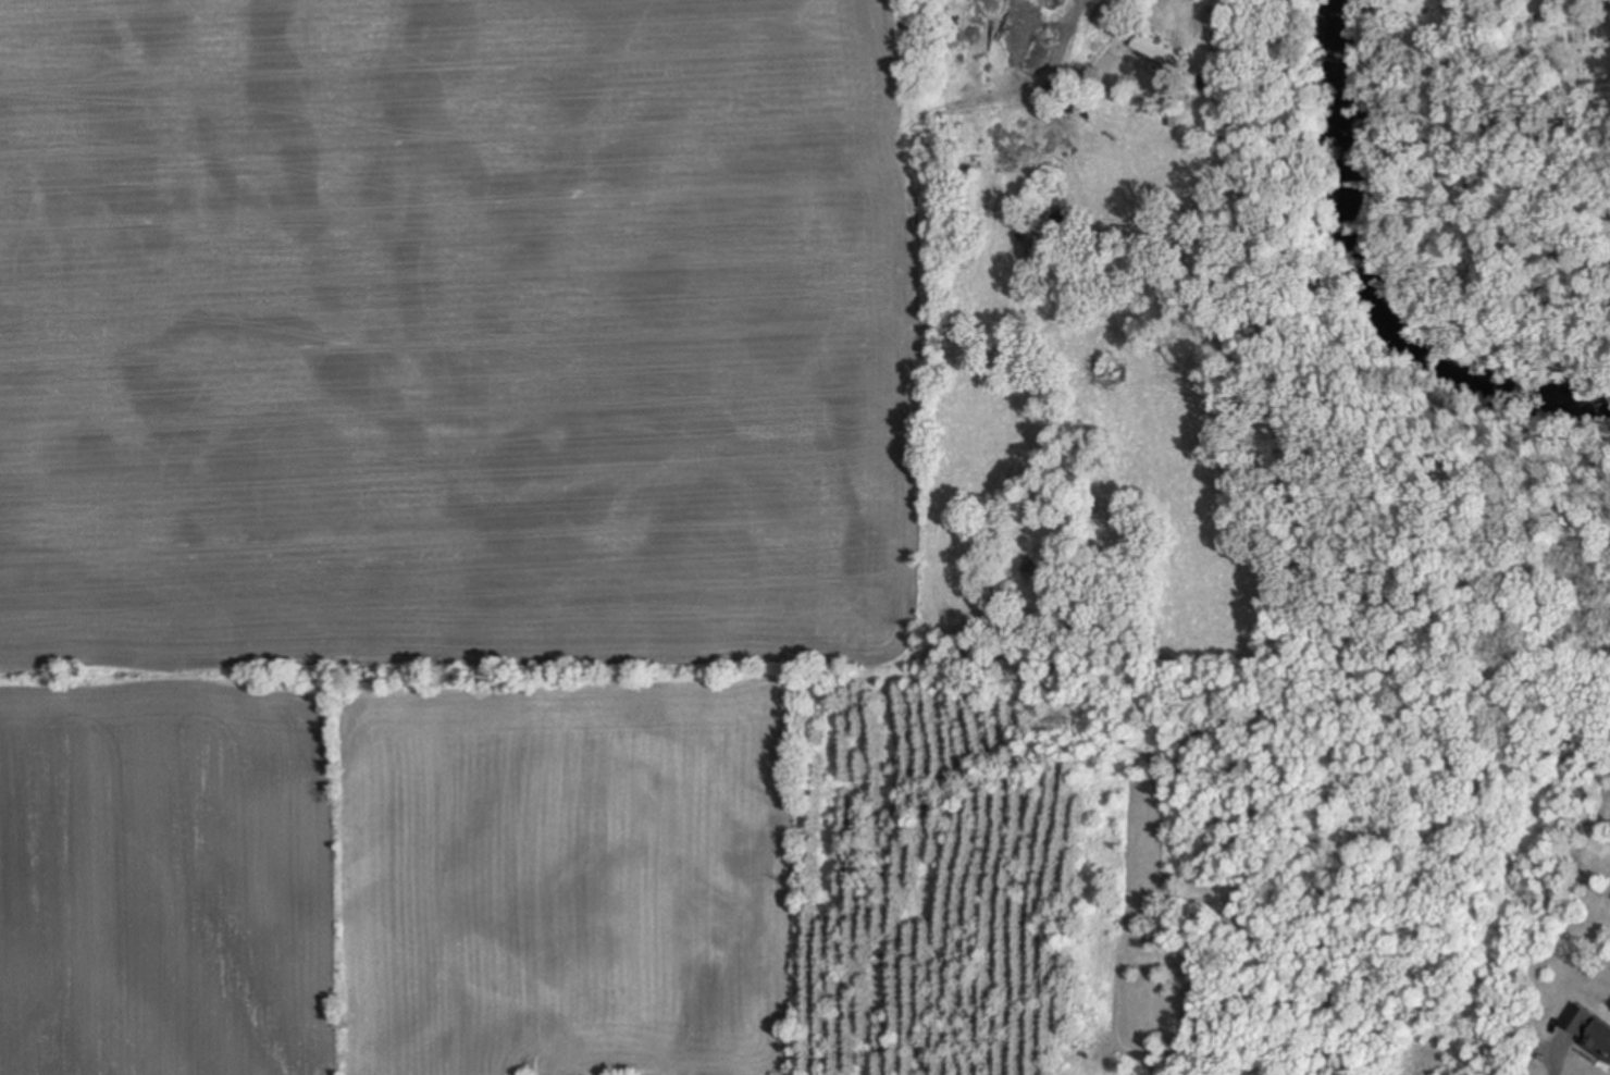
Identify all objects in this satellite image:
building: (1151, 48)
building: (1584, 1035)

